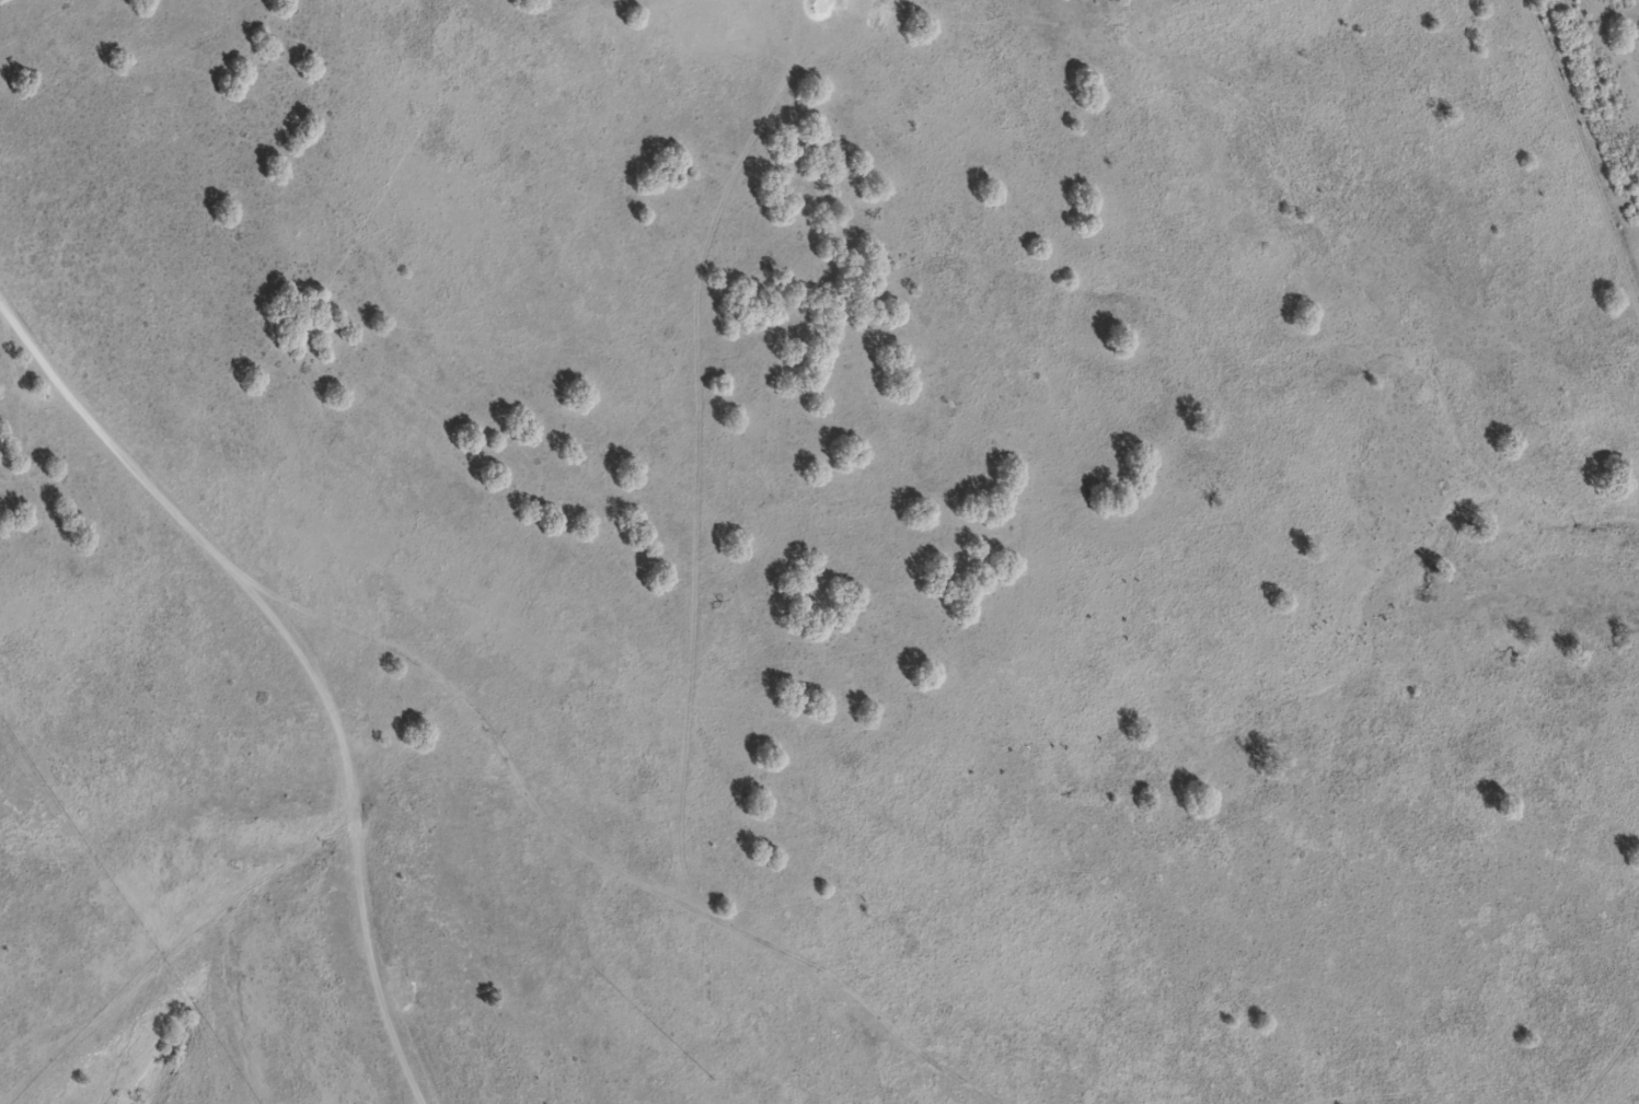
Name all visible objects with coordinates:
road: (286, 667)

